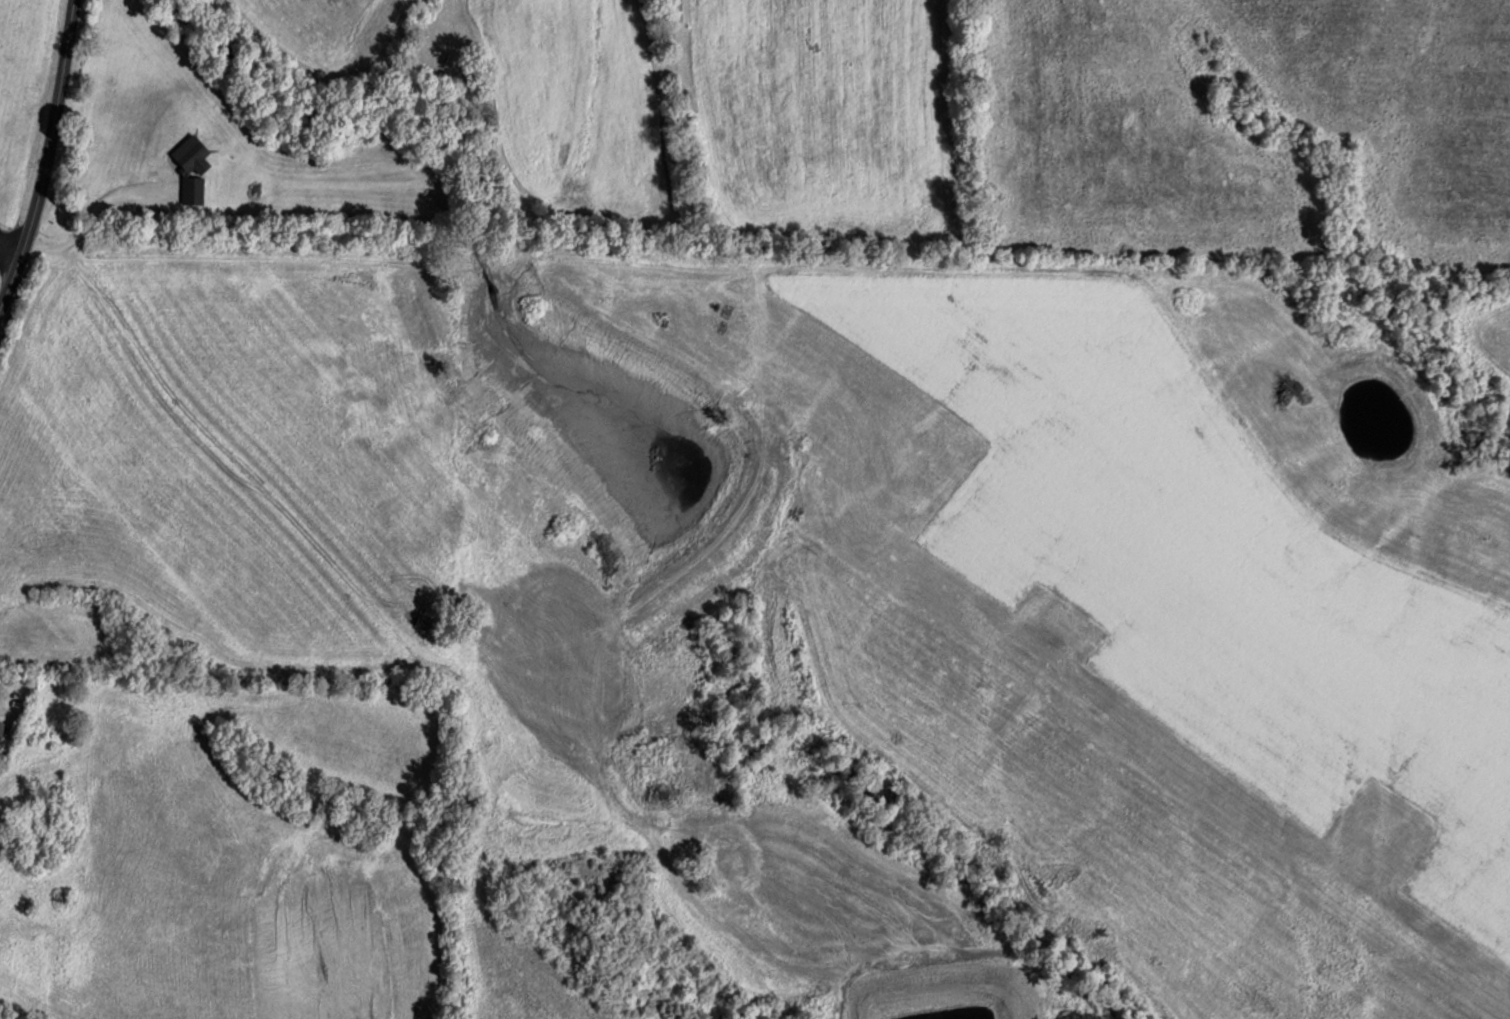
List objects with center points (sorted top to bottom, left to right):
road: (47, 152)
building: (192, 171)
building: (60, 901)

